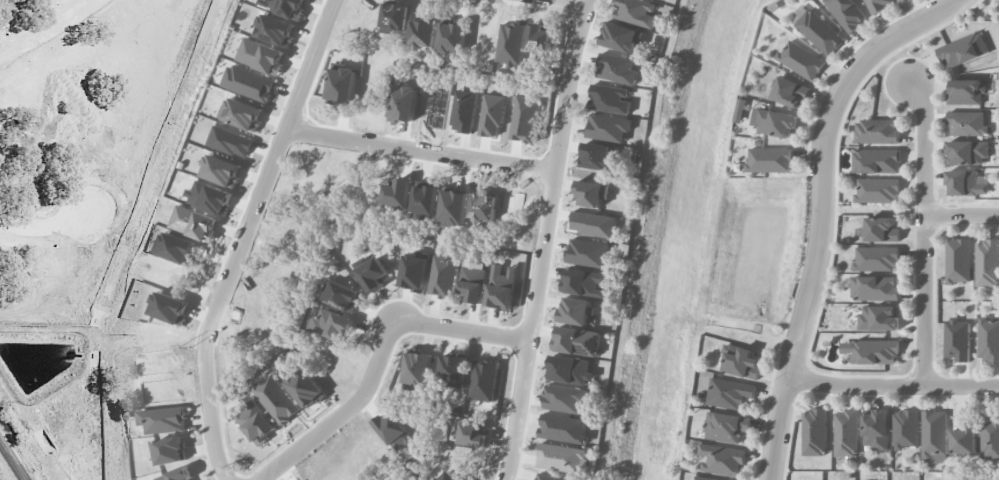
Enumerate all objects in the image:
road: (576, 3)
building: (877, 5)
road: (912, 8)
building: (637, 12)
building: (847, 13)
road: (47, 30)
building: (817, 30)
building: (962, 50)
building: (801, 60)
building: (617, 68)
building: (966, 91)
building: (791, 92)
building: (609, 98)
building: (741, 110)
building: (775, 122)
building: (967, 123)
building: (608, 127)
building: (876, 131)
road: (420, 148)
building: (967, 152)
building: (597, 156)
building: (770, 159)
building: (876, 160)
road: (835, 170)
building: (966, 182)
building: (877, 190)
building: (592, 193)
road: (820, 210)
road: (961, 216)
building: (594, 224)
road: (48, 227)
building: (882, 229)
road: (923, 232)
road: (806, 233)
road: (243, 237)
road: (545, 239)
building: (589, 253)
building: (877, 258)
building: (958, 260)
building: (987, 262)
building: (415, 271)
building: (371, 272)
building: (444, 275)
building: (584, 282)
building: (473, 283)
building: (501, 287)
building: (875, 288)
building: (344, 296)
building: (573, 310)
building: (880, 317)
building: (331, 324)
road: (462, 329)
building: (957, 339)
building: (576, 340)
building: (989, 340)
building: (870, 352)
building: (741, 361)
building: (417, 369)
building: (453, 369)
building: (569, 369)
road: (806, 378)
building: (484, 380)
road: (893, 386)
building: (307, 388)
building: (730, 393)
building: (564, 398)
building: (278, 399)
road: (344, 411)
road: (792, 412)
building: (164, 419)
building: (257, 422)
building: (726, 426)
building: (563, 428)
building: (876, 429)
building: (905, 429)
building: (394, 430)
building: (814, 432)
building: (846, 433)
building: (934, 436)
building: (990, 439)
building: (963, 440)
building: (170, 450)
building: (562, 458)
building: (722, 459)
road: (13, 460)
building: (177, 475)
building: (447, 476)
building: (545, 477)
building: (706, 478)

